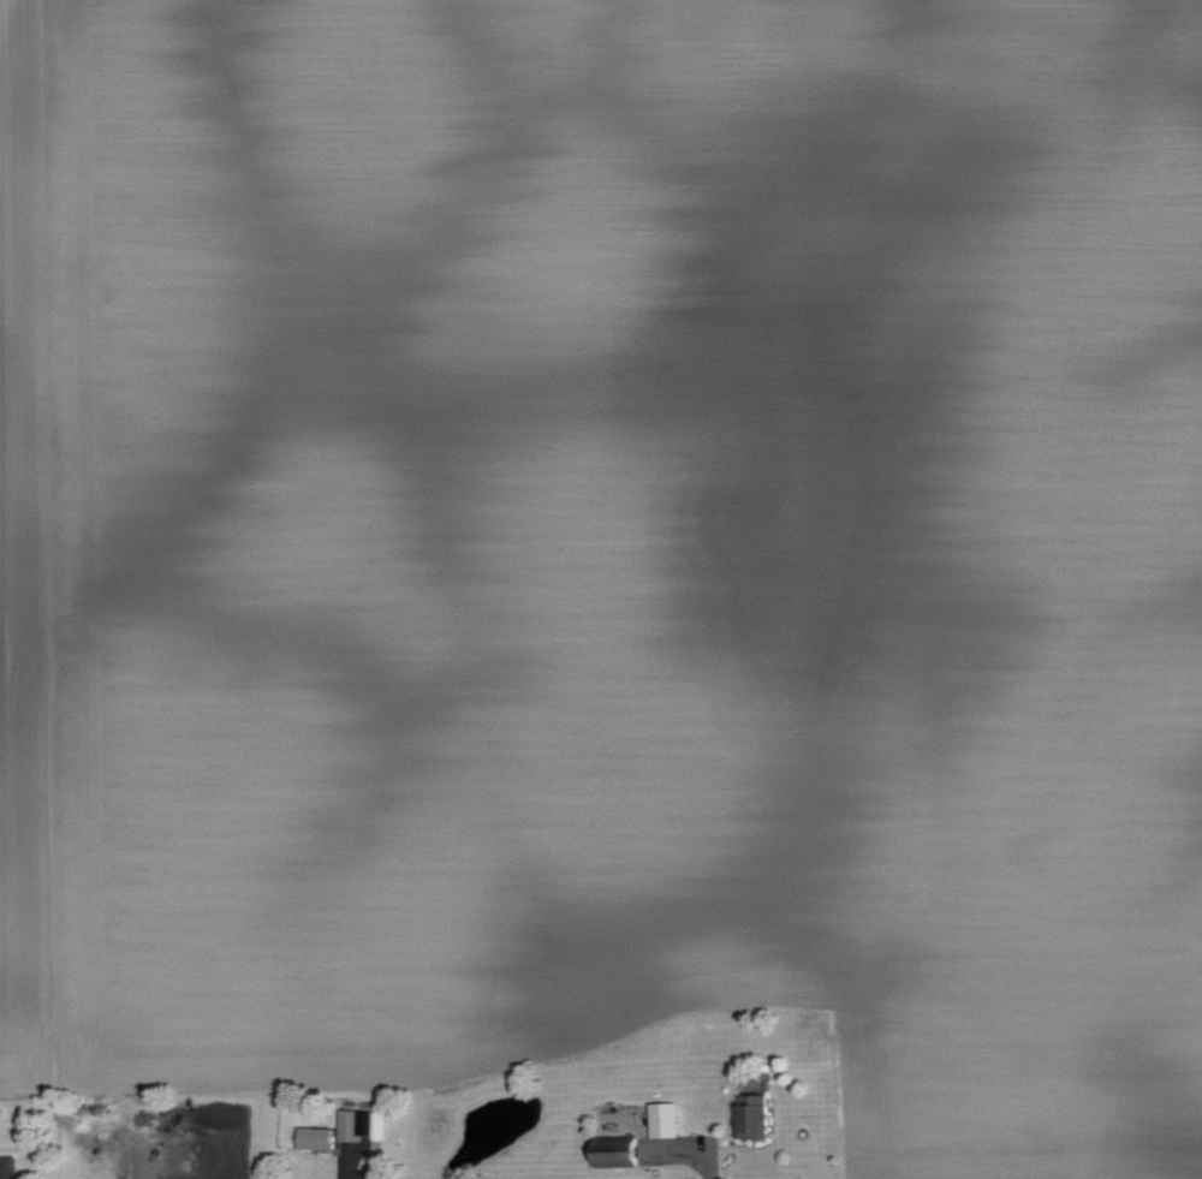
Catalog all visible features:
building: (760, 1117)
building: (668, 1119)
building: (361, 1123)
building: (320, 1137)
building: (10, 1167)

